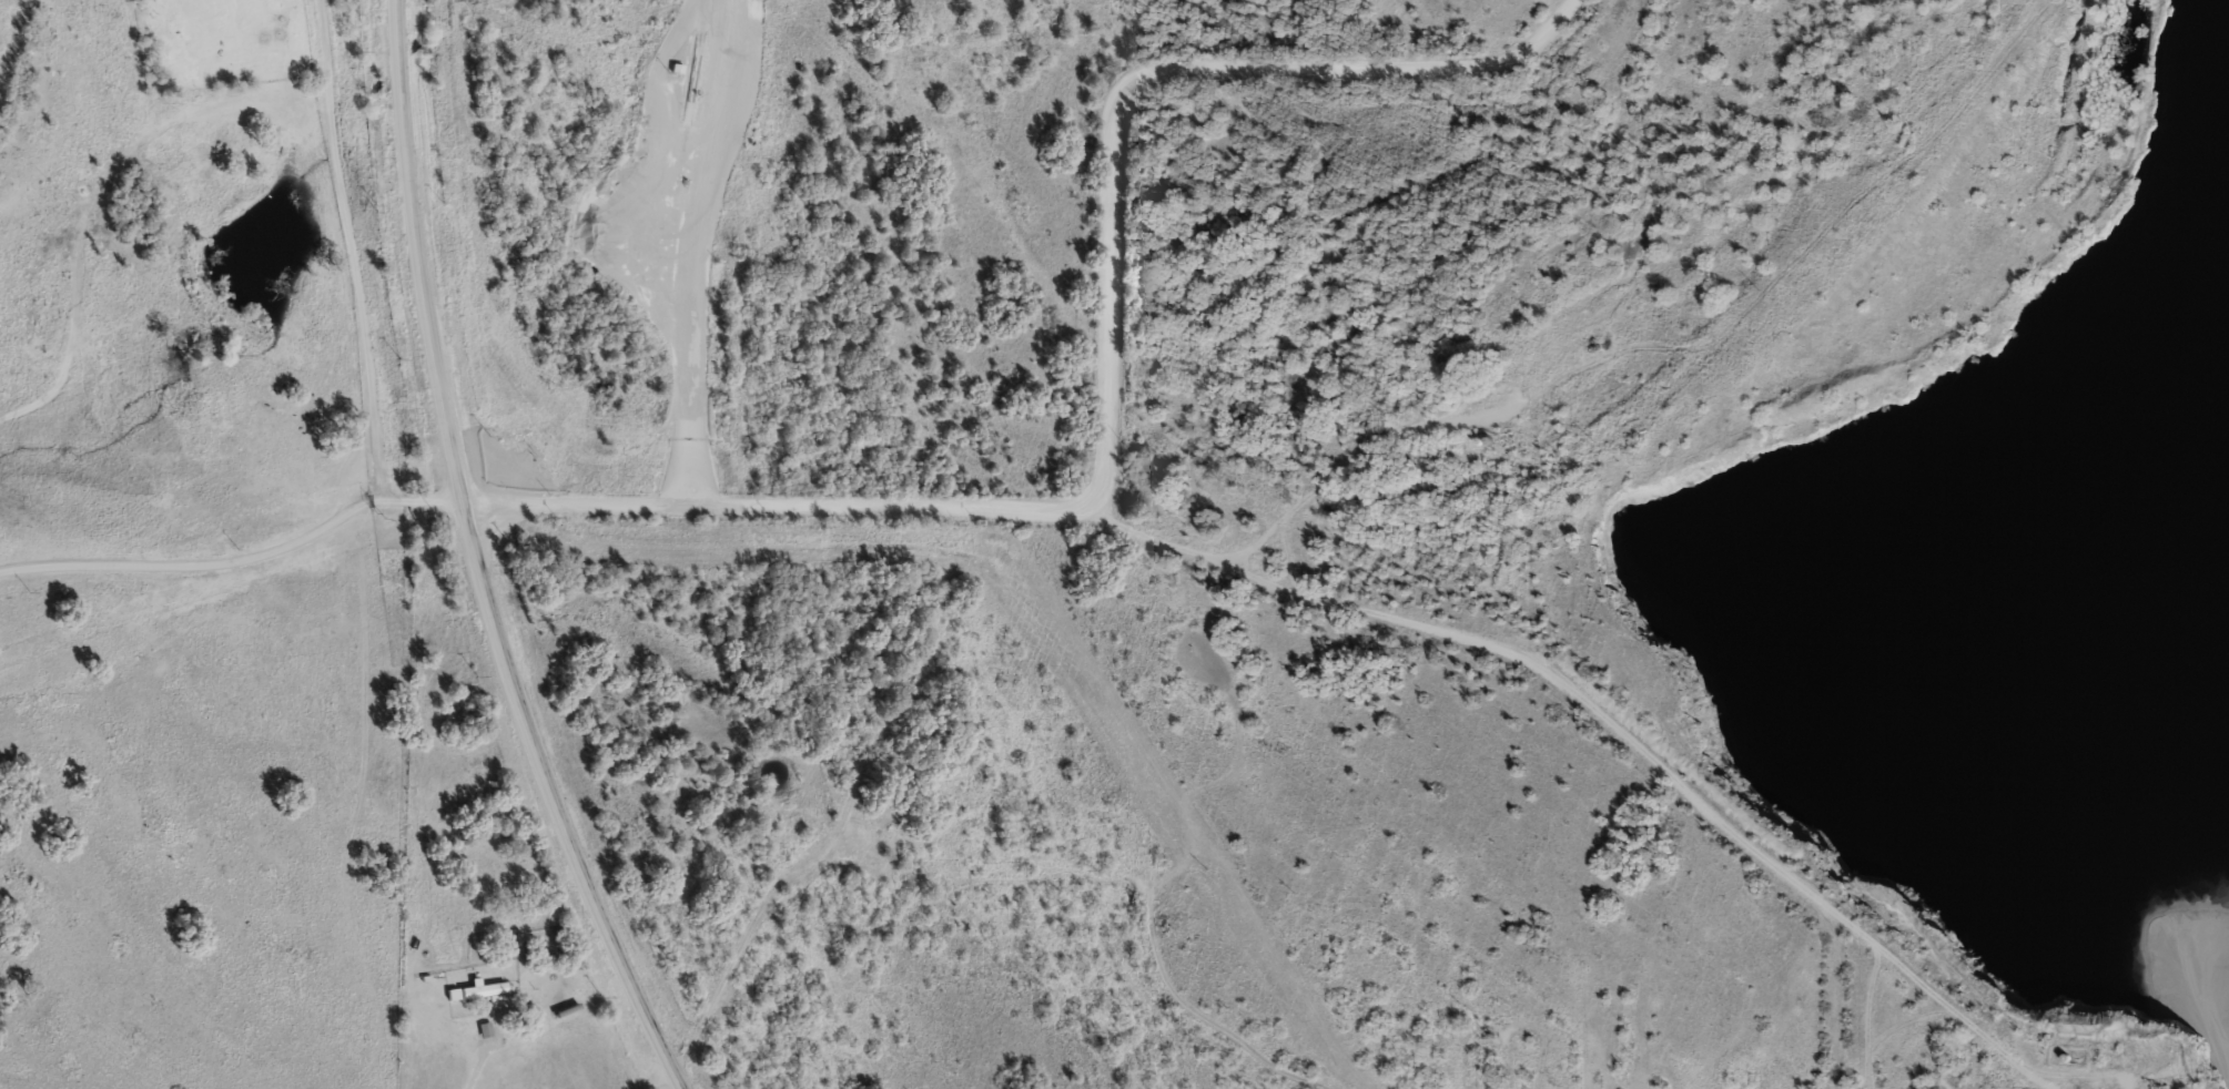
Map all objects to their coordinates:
road: (1411, 33)
road: (1147, 74)
road: (693, 248)
road: (351, 251)
road: (1351, 452)
road: (773, 501)
road: (235, 554)
road: (477, 560)
road: (1613, 724)
road: (799, 865)
building: (483, 989)
road: (1866, 1012)
road: (1199, 1015)
road: (1521, 1025)
building: (486, 1029)
road: (476, 1067)

